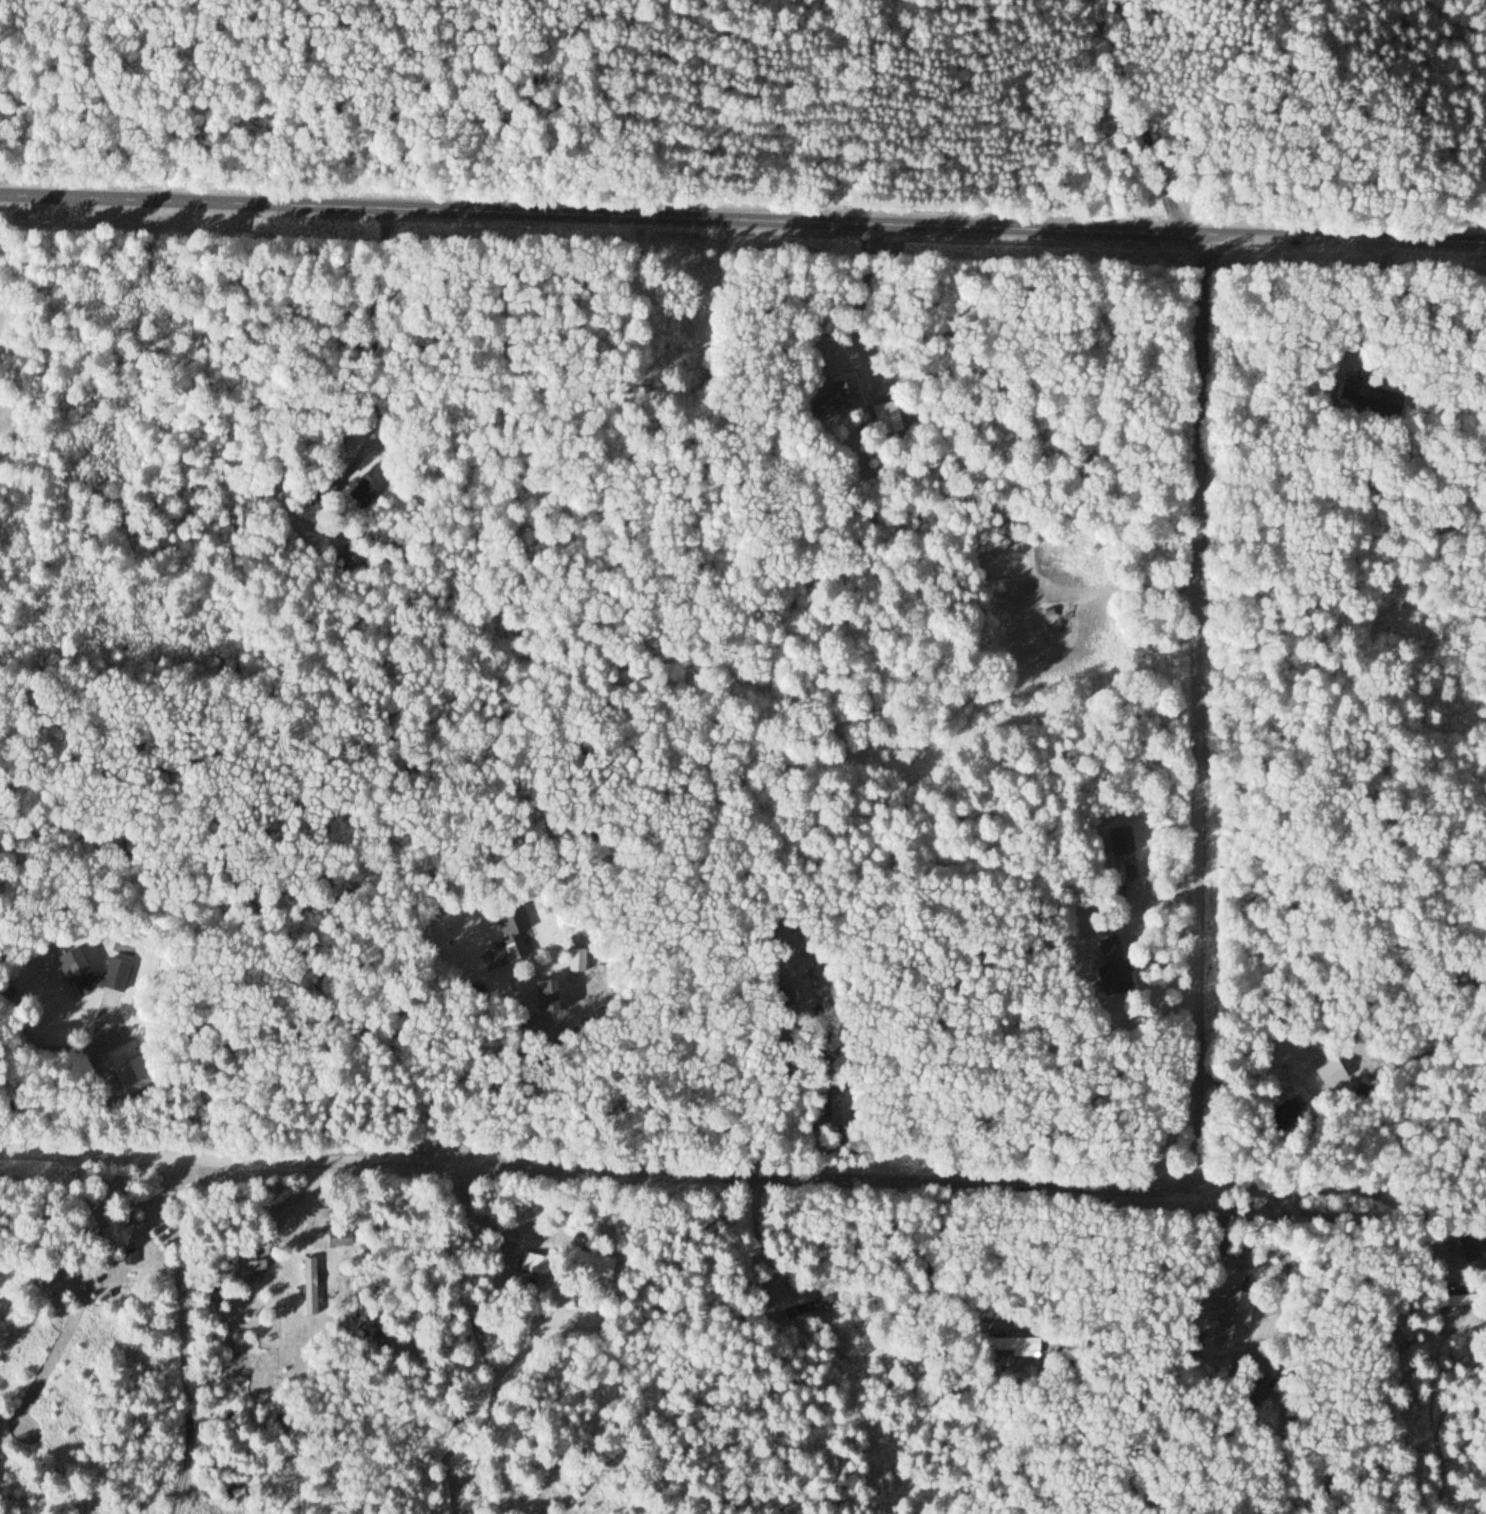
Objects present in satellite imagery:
road: (1134, 124)
road: (742, 224)
building: (839, 396)
building: (1369, 397)
building: (888, 417)
building: (371, 482)
building: (321, 486)
building: (351, 557)
road: (1194, 708)
building: (510, 942)
building: (1111, 963)
building: (75, 970)
building: (131, 1073)
building: (1283, 1113)
road: (594, 1172)
road: (1330, 1193)
road: (1282, 1225)
building: (1472, 1246)
building: (105, 1250)
building: (585, 1262)
building: (533, 1263)
building: (249, 1264)
building: (313, 1273)
building: (1450, 1300)
building: (808, 1306)
building: (1234, 1314)
building: (1013, 1346)
building: (841, 1357)

